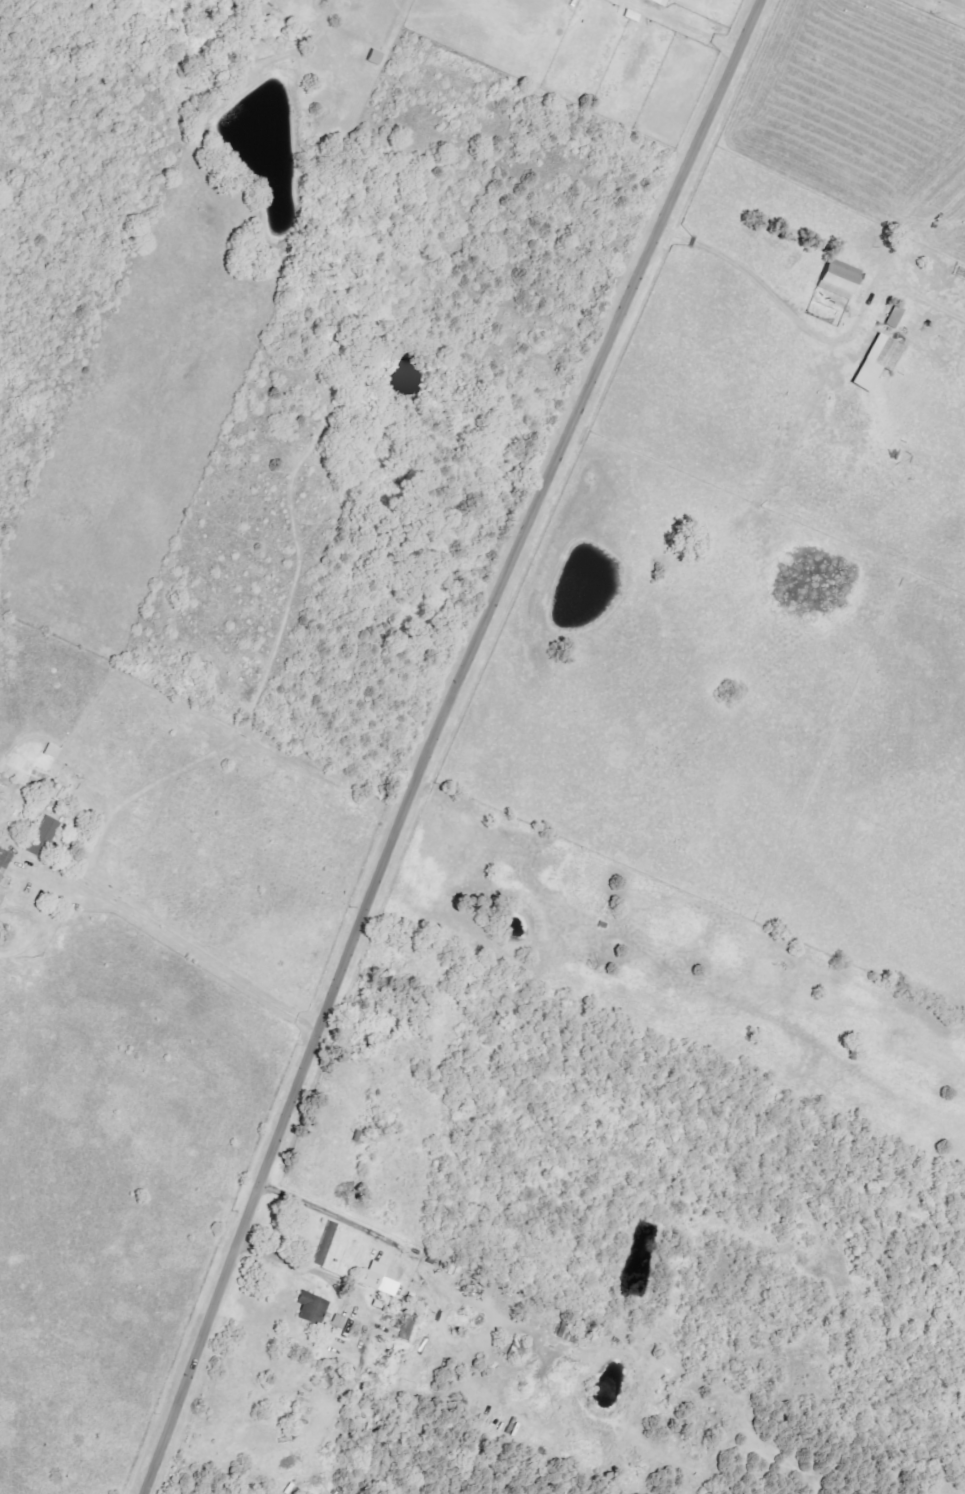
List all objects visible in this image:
building: (662, 2)
road: (957, 3)
building: (377, 57)
building: (843, 279)
building: (896, 317)
road: (837, 339)
building: (880, 361)
road: (434, 740)
building: (45, 837)
building: (4, 863)
road: (181, 945)
road: (330, 1213)
building: (453, 1270)
building: (373, 1278)
building: (309, 1308)

